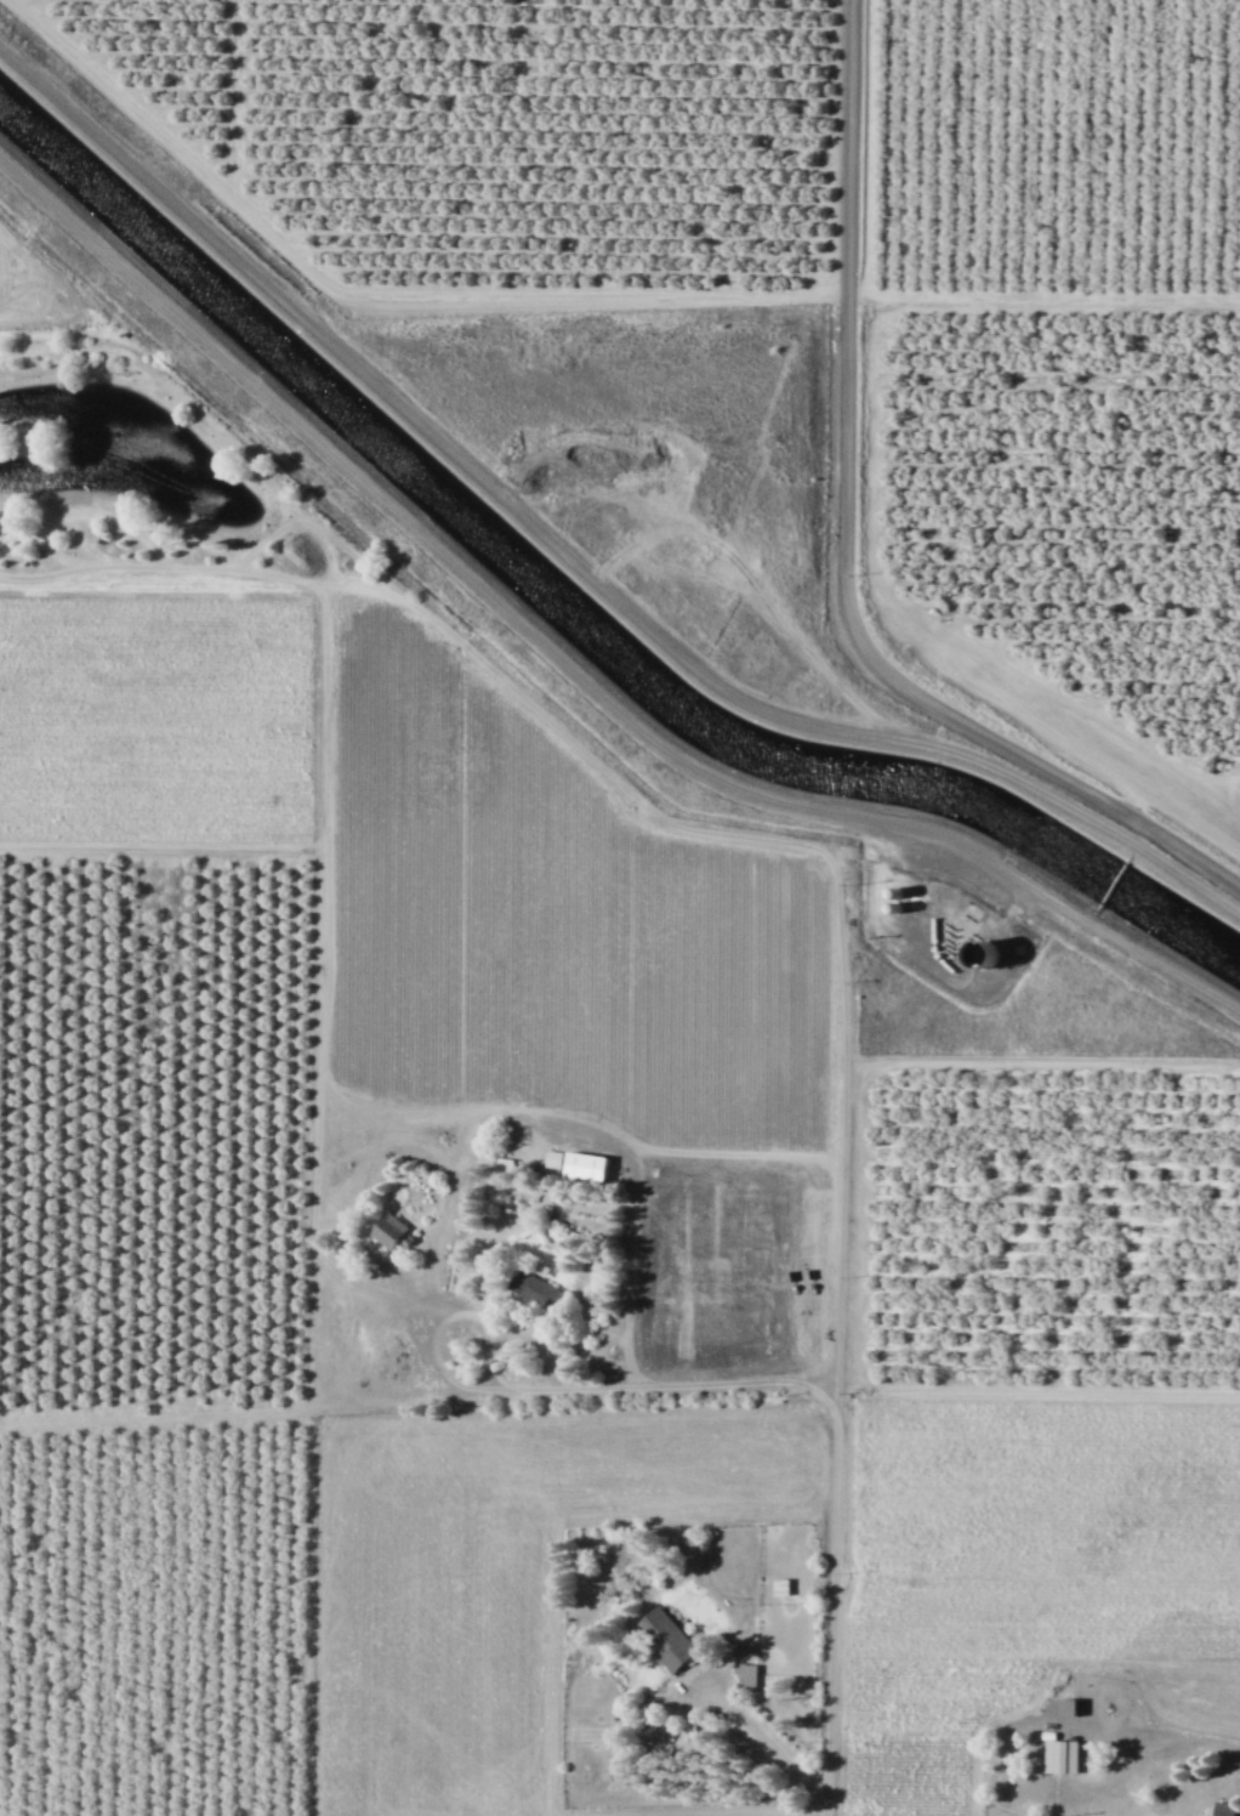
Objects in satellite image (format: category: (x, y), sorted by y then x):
road: (232, 101)
road: (22, 283)
crop: (41, 290)
road: (371, 293)
road: (908, 295)
road: (85, 511)
road: (262, 539)
road: (83, 541)
road: (844, 546)
road: (571, 561)
road: (161, 567)
road: (359, 583)
road: (324, 771)
road: (797, 842)
road: (161, 849)
crop: (449, 859)
water tower: (977, 953)
road: (1031, 1062)
road: (421, 1111)
building: (552, 1158)
building: (581, 1167)
road: (626, 1214)
road: (444, 1215)
building: (387, 1231)
building: (535, 1290)
road: (379, 1294)
road: (439, 1324)
road: (1037, 1386)
road: (233, 1414)
road: (834, 1448)
crop: (1029, 1570)
building: (778, 1587)
building: (666, 1639)
building: (745, 1675)
building: (1065, 1707)
road: (1160, 1738)
road: (768, 1743)
building: (1053, 1757)
building: (1222, 1809)

